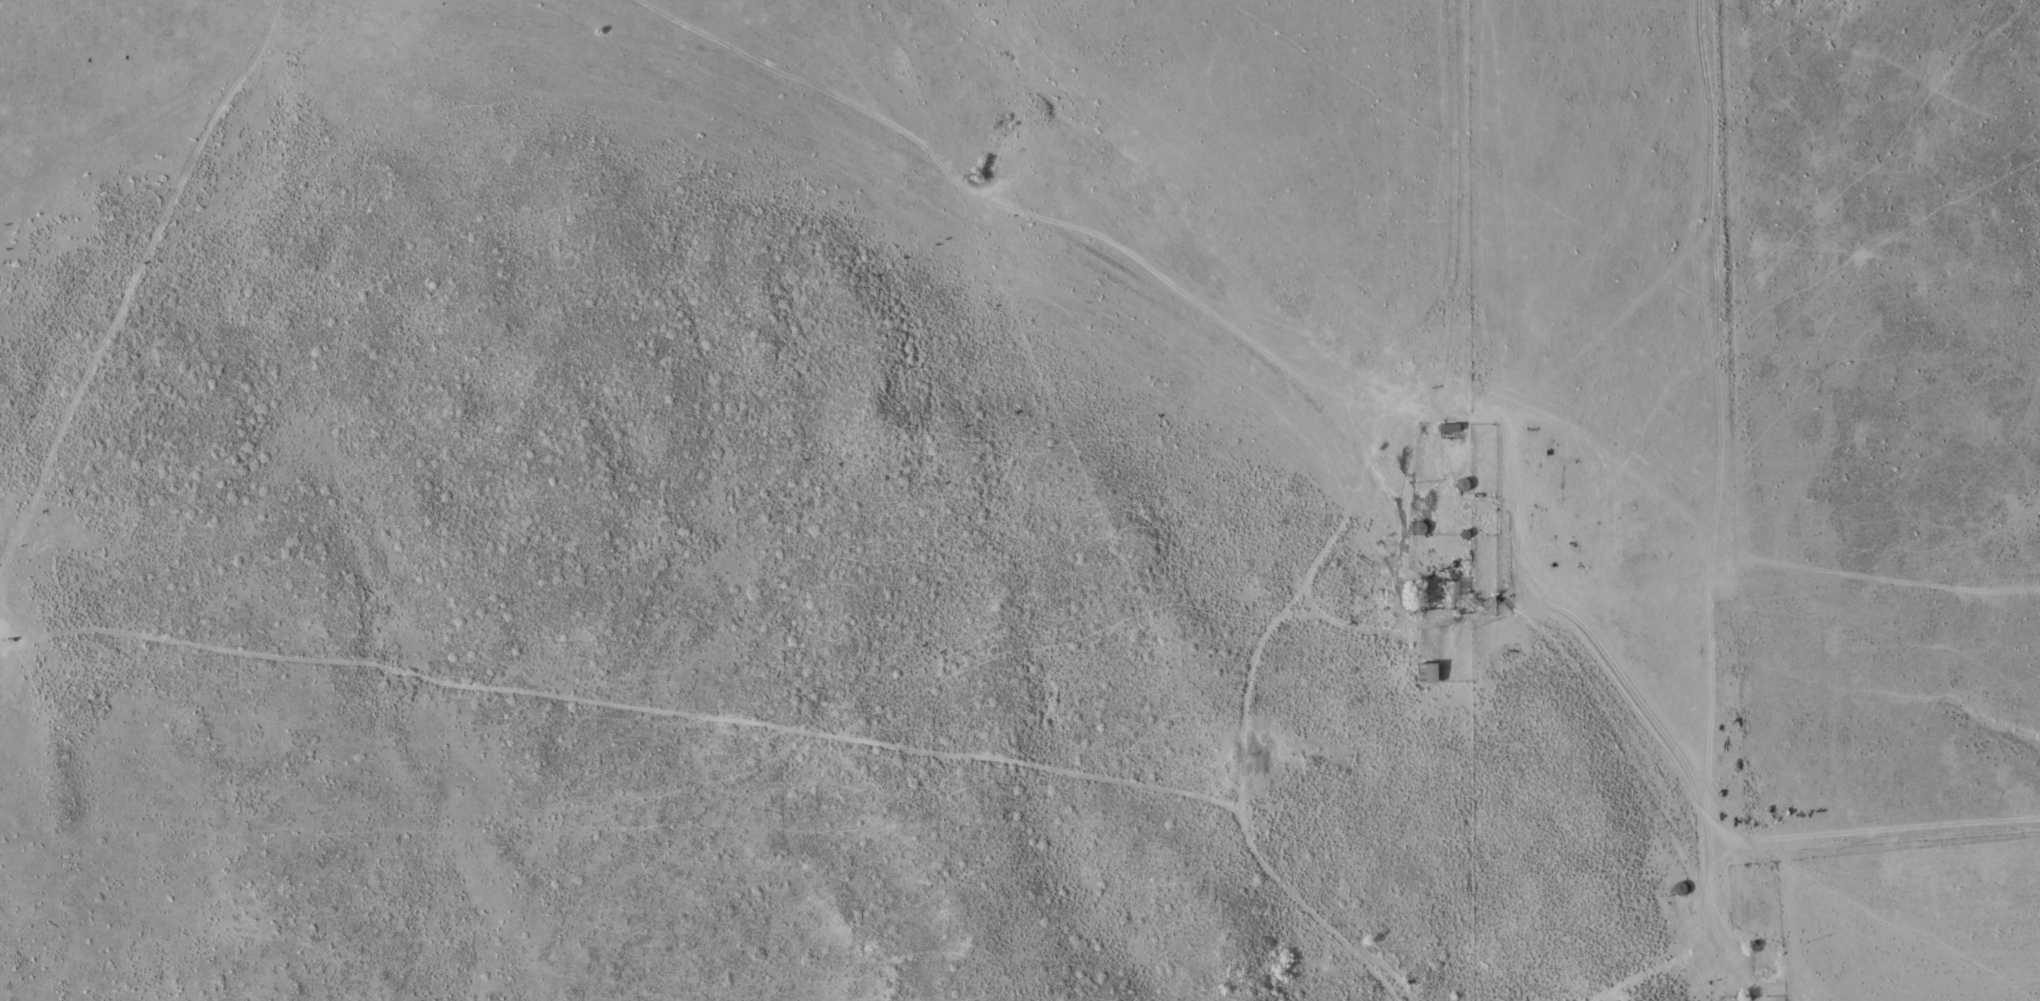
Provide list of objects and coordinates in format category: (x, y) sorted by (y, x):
road: (221, 223)
building: (1453, 427)
road: (1337, 441)
building: (1466, 484)
building: (1433, 673)
road: (581, 685)
road: (1174, 738)

